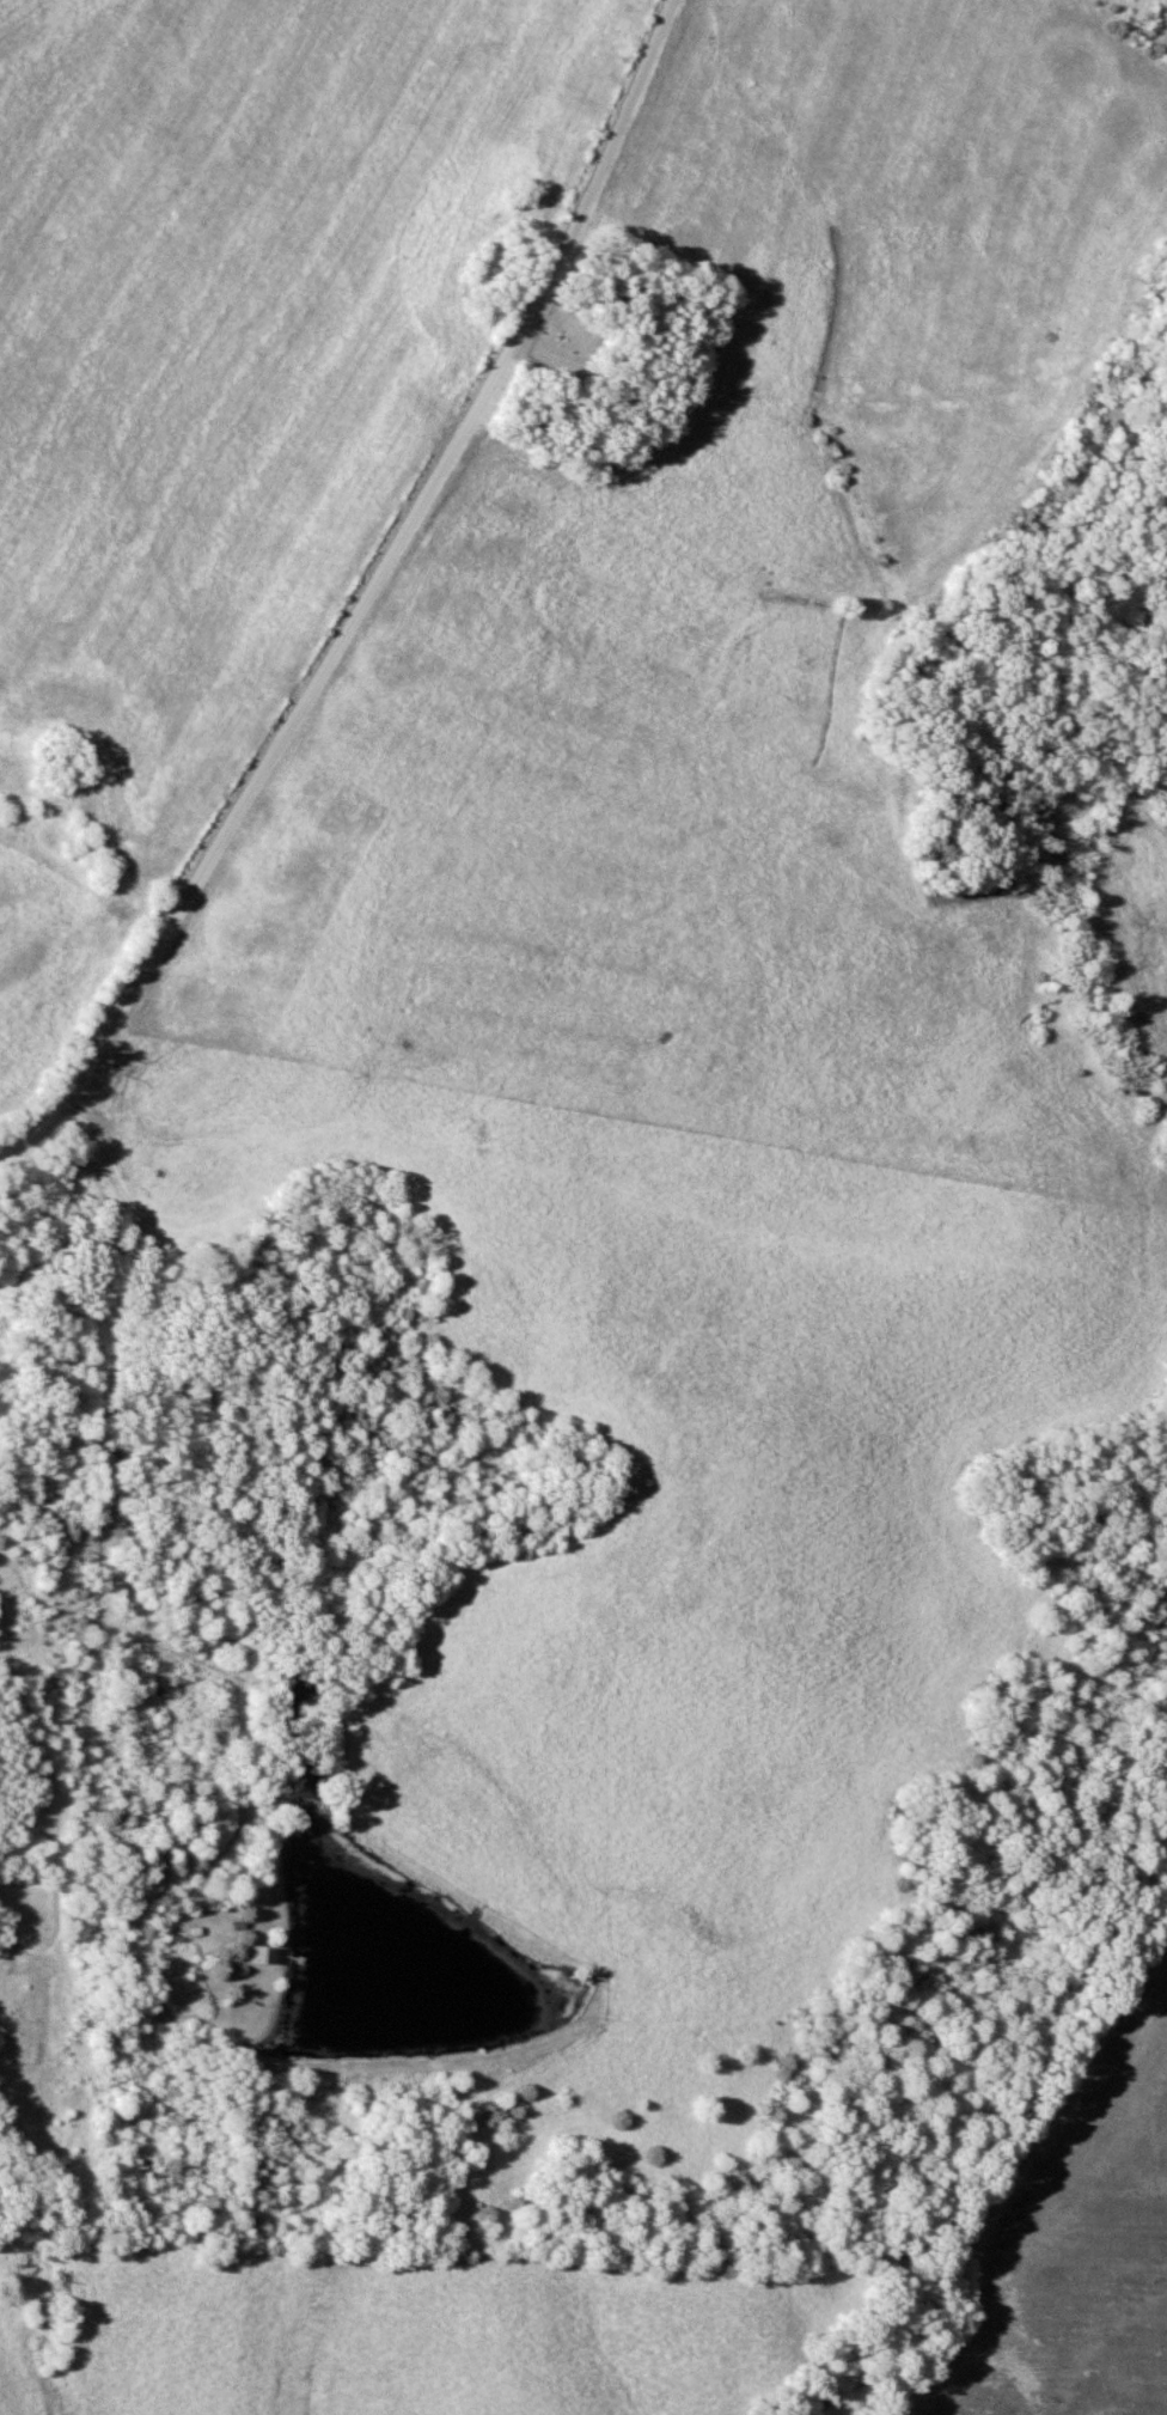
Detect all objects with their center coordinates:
road: (363, 596)

